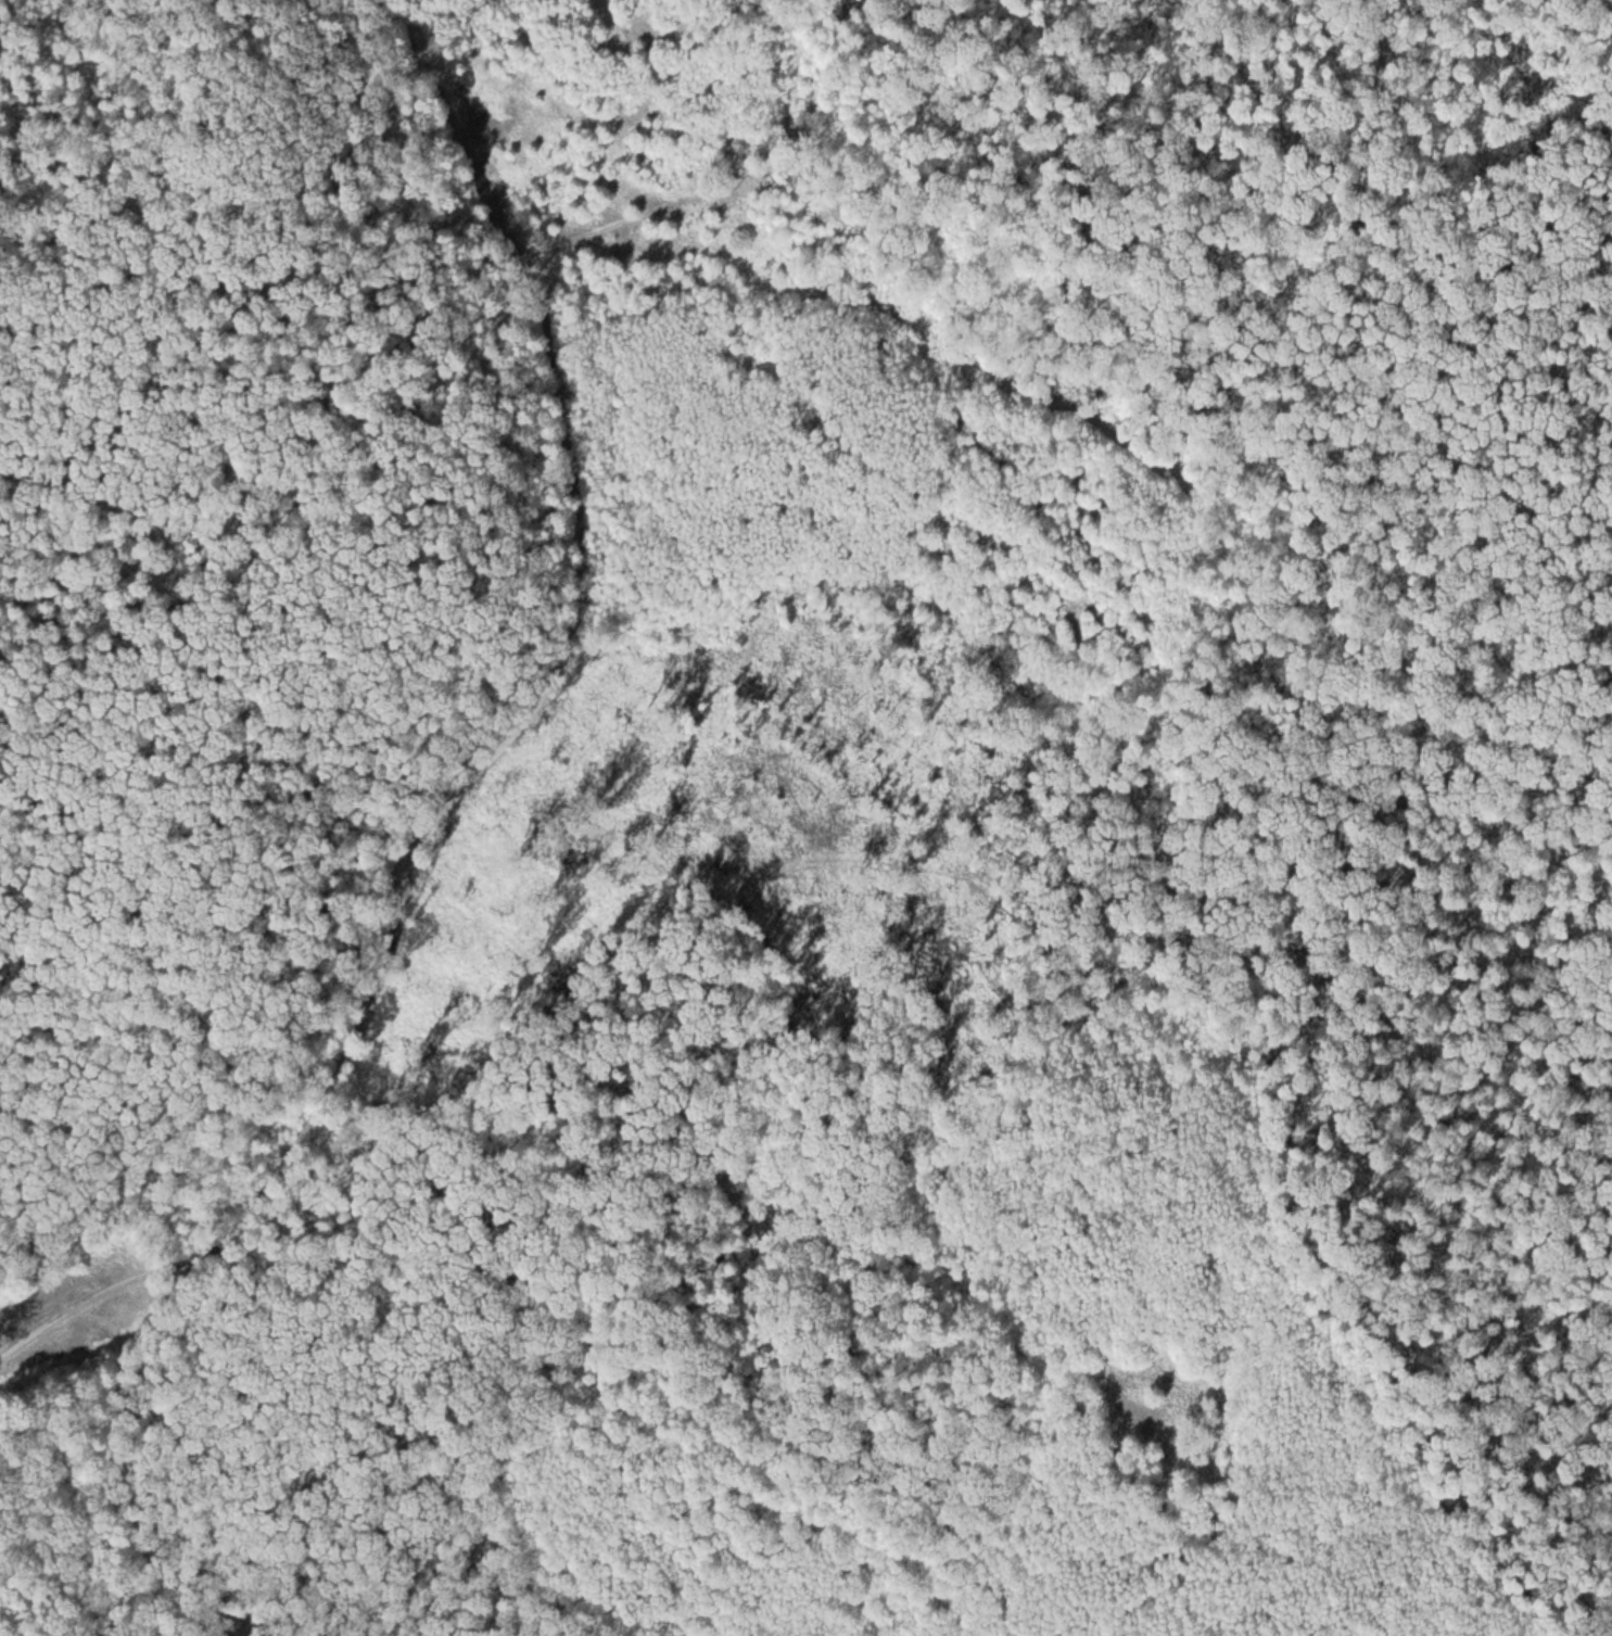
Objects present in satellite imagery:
road: (529, 744)

